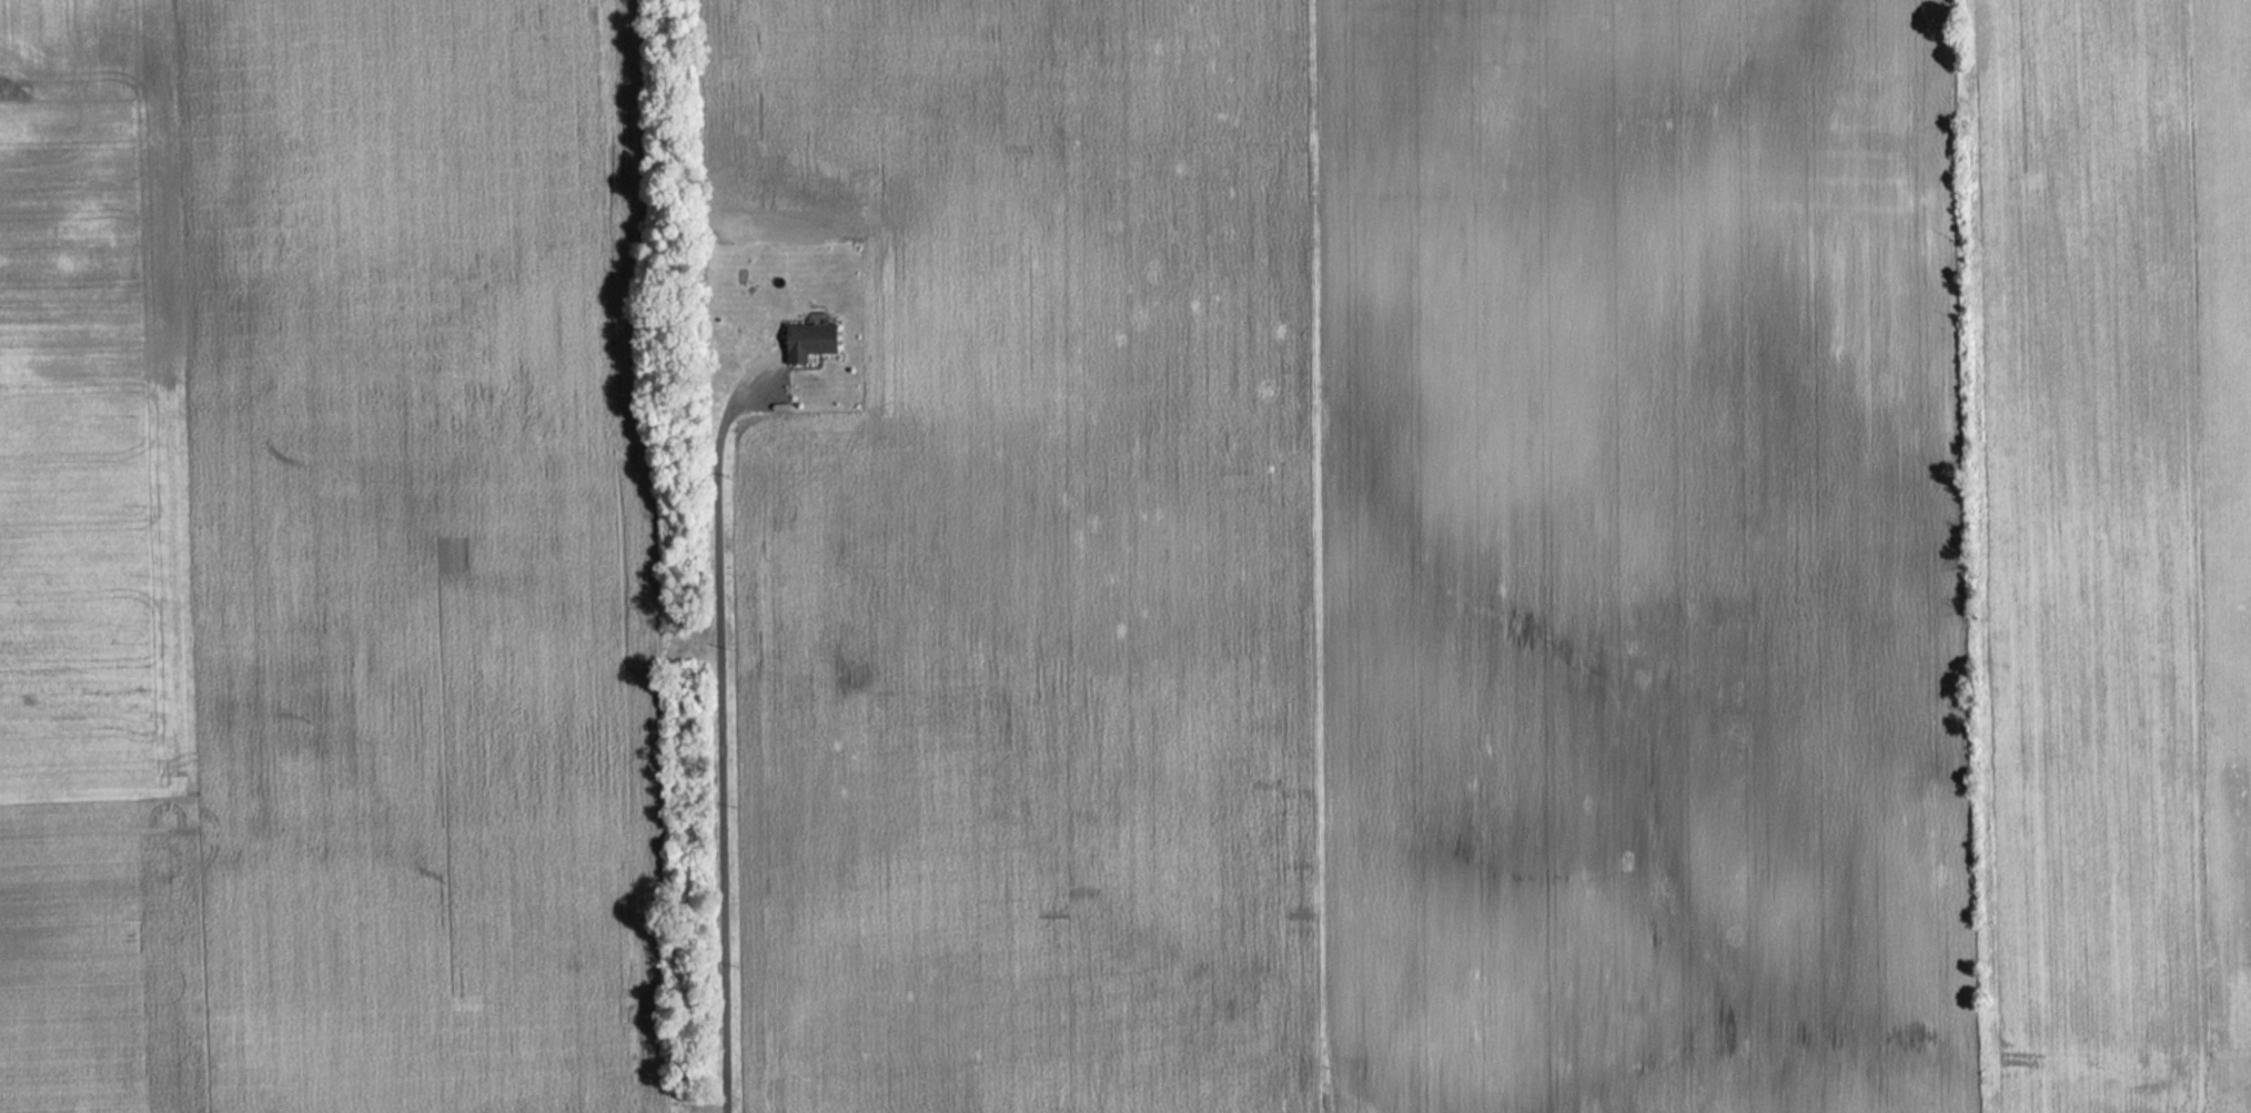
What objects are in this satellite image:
building: (808, 343)
road: (723, 739)

